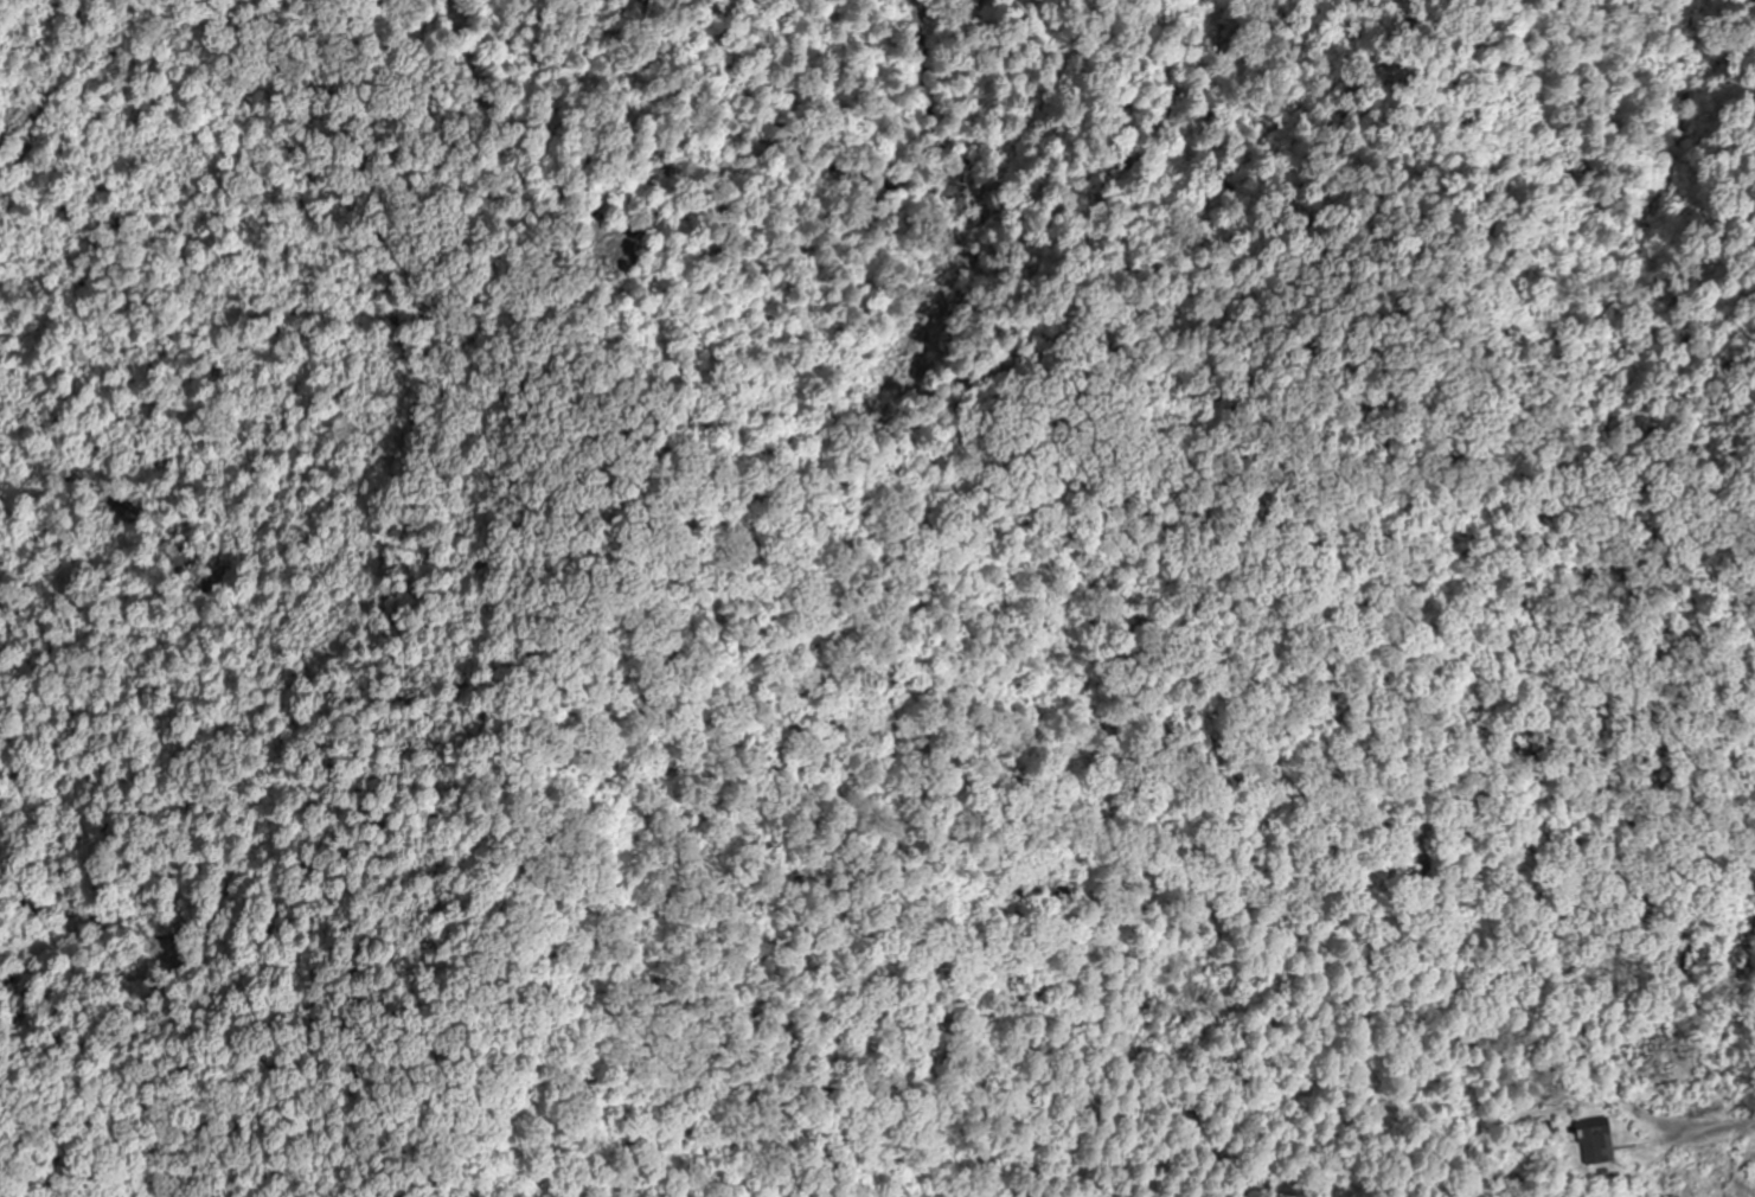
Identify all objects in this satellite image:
building: (1590, 1141)

